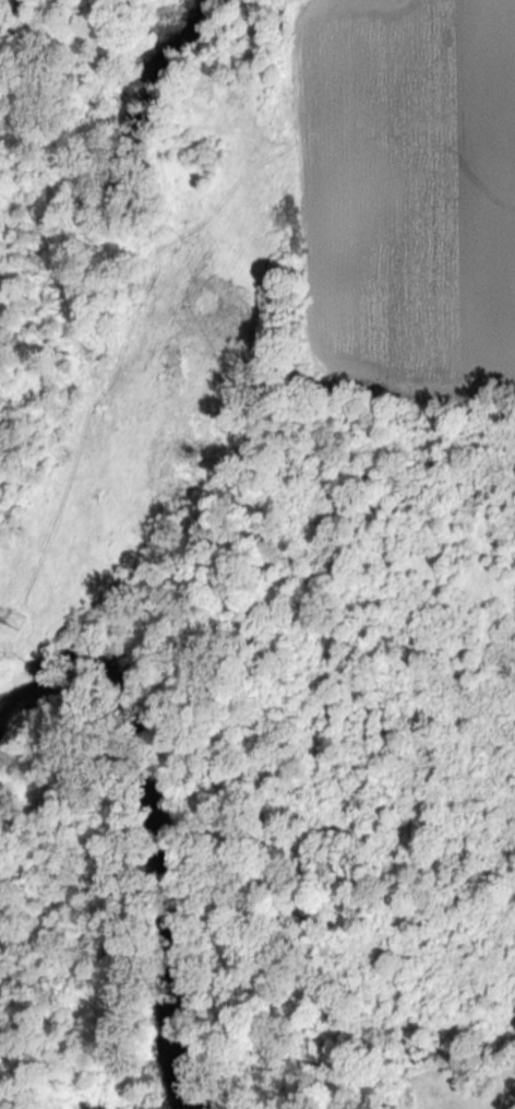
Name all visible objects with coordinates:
crop: (408, 193)
power tower: (15, 616)
river: (145, 822)

